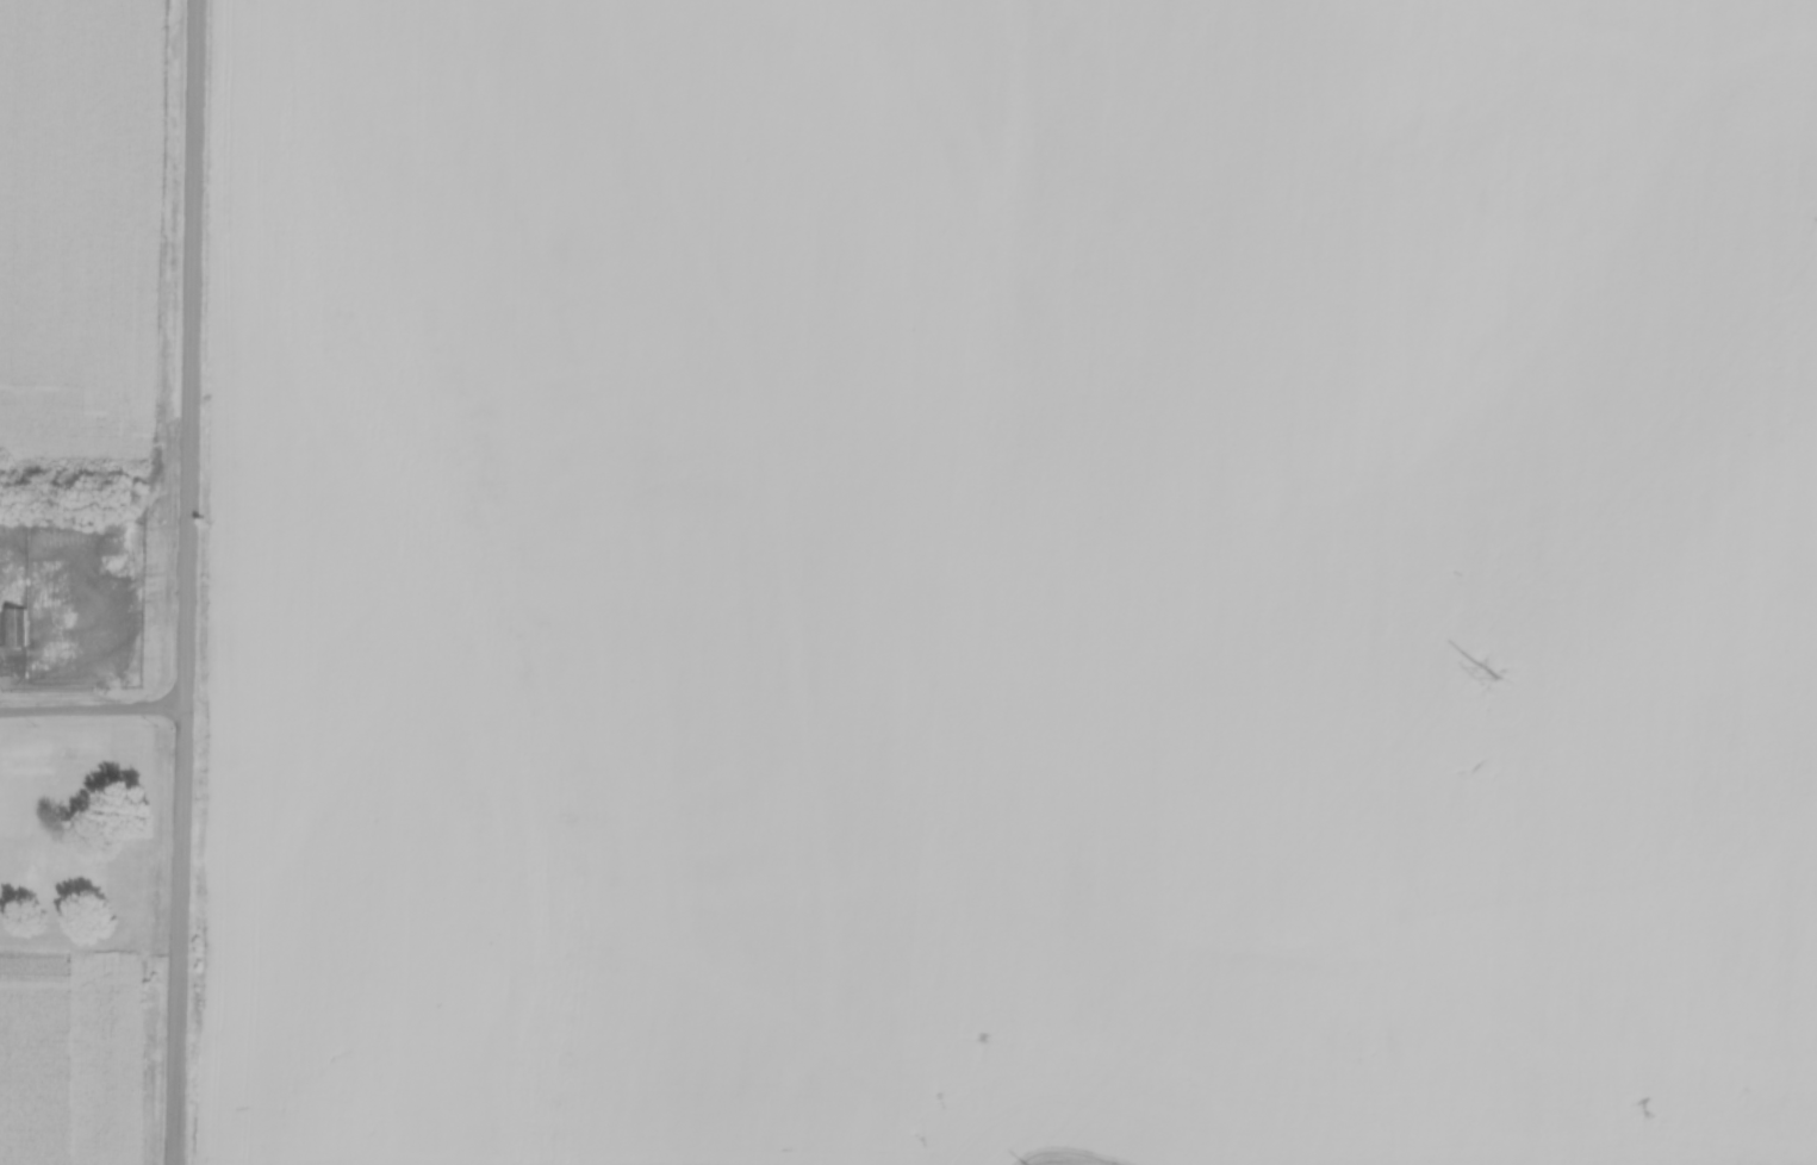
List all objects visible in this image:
road: (182, 582)
building: (13, 621)
power tower: (1504, 656)
road: (89, 716)

